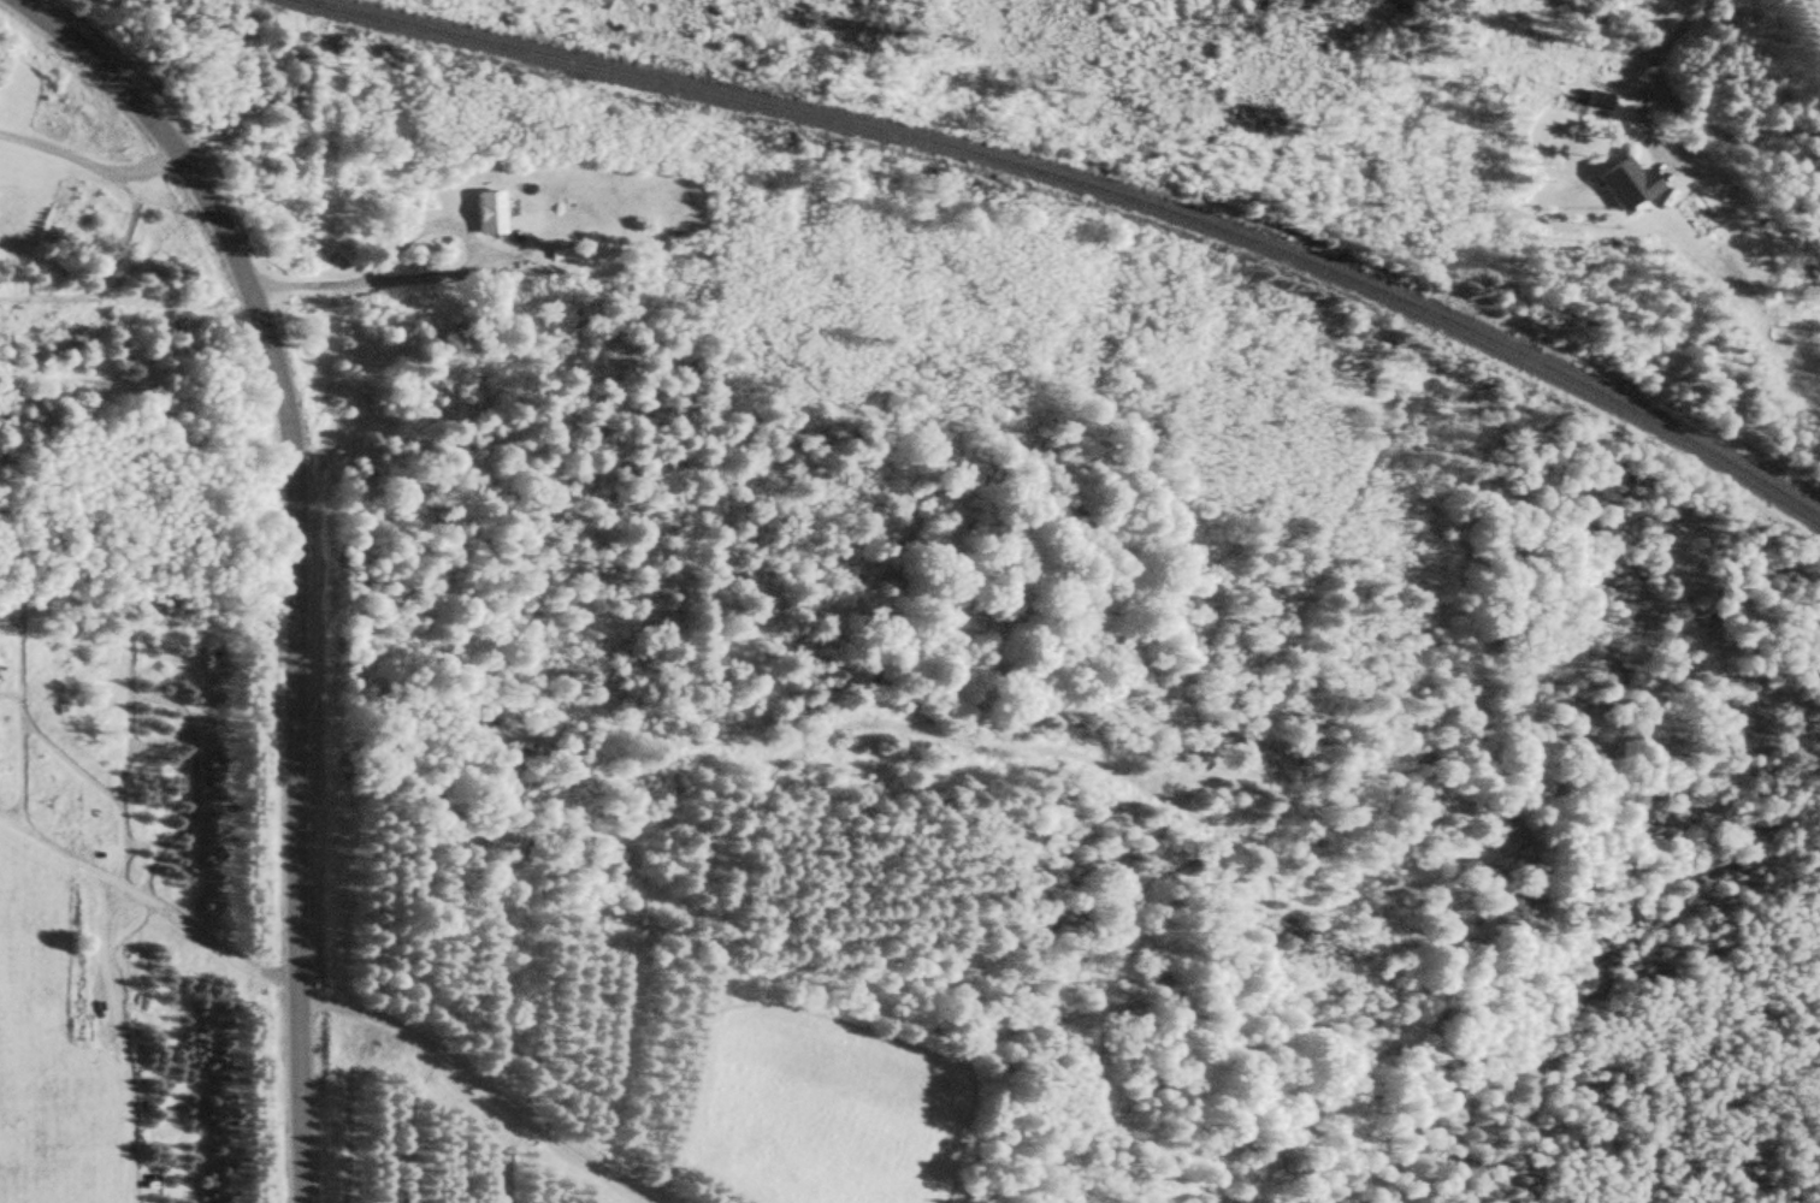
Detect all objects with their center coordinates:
railway: (1103, 184)
building: (490, 213)
road: (376, 278)
road: (294, 556)
road: (475, 1086)

